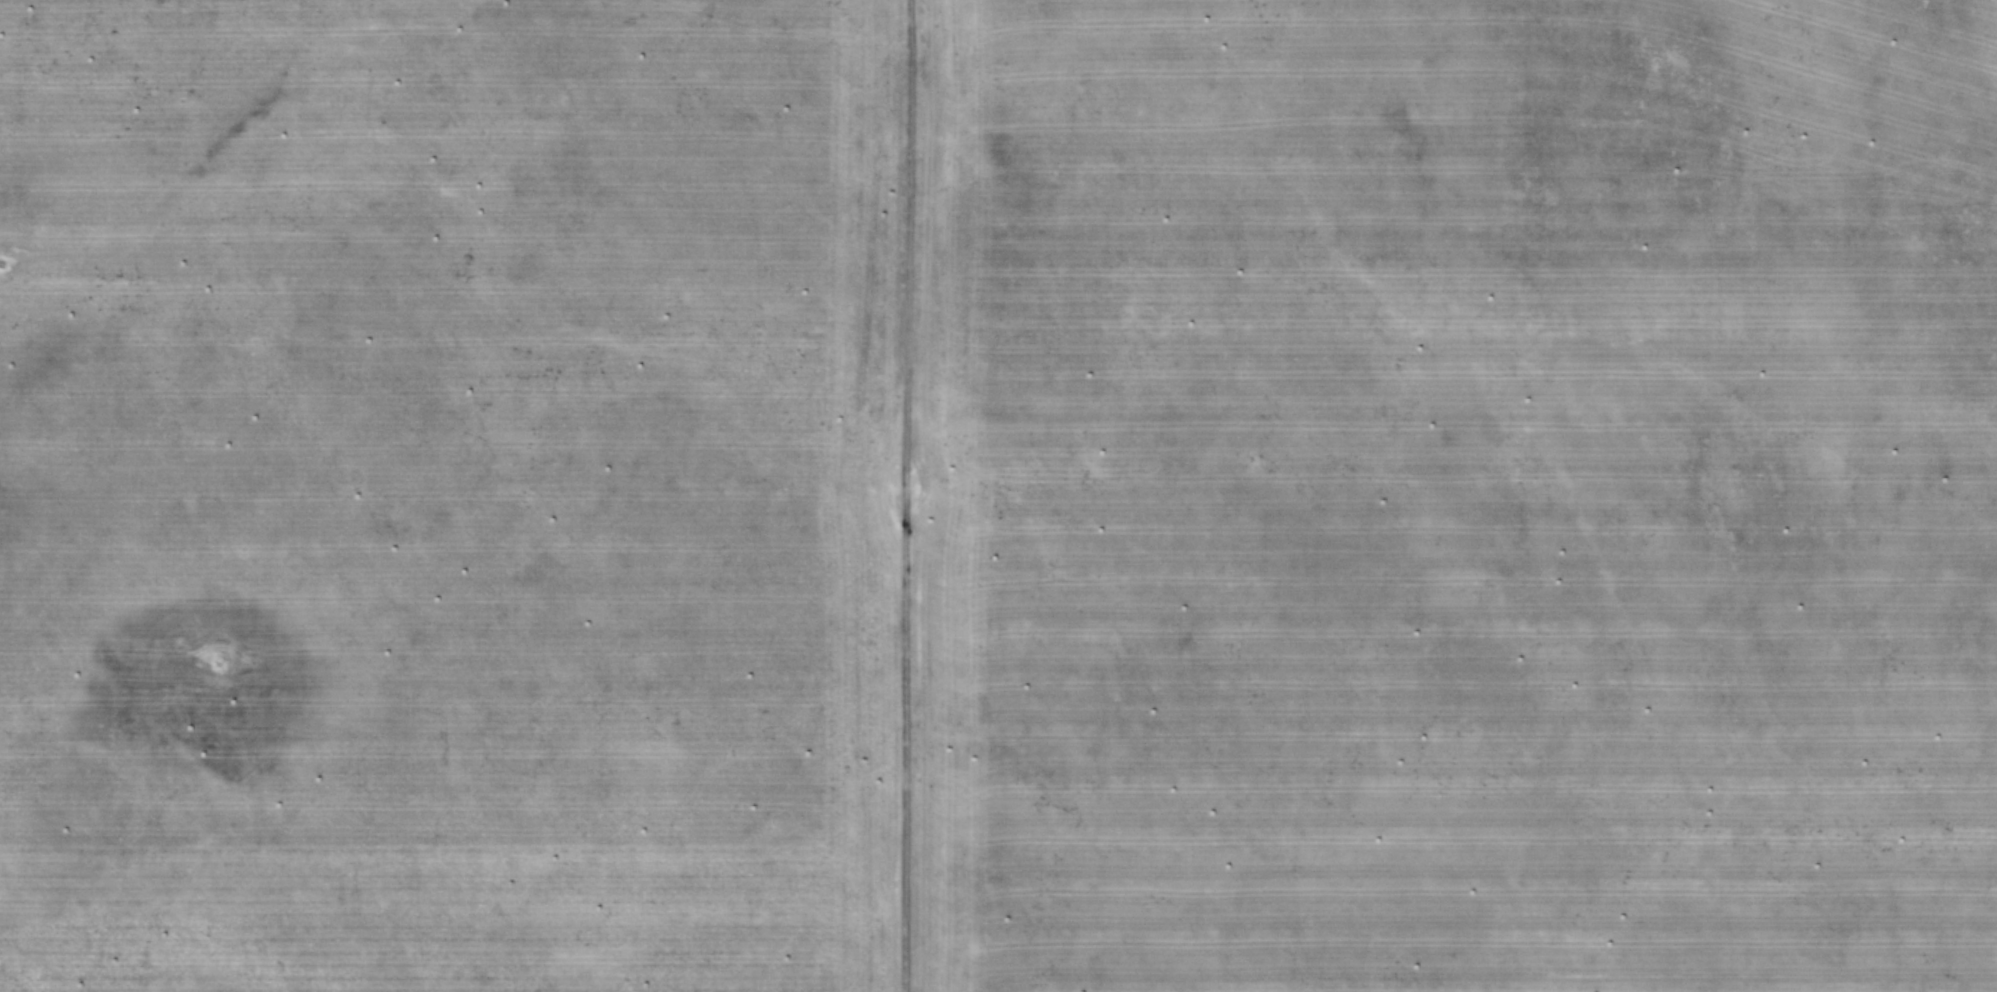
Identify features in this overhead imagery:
road: (913, 496)

